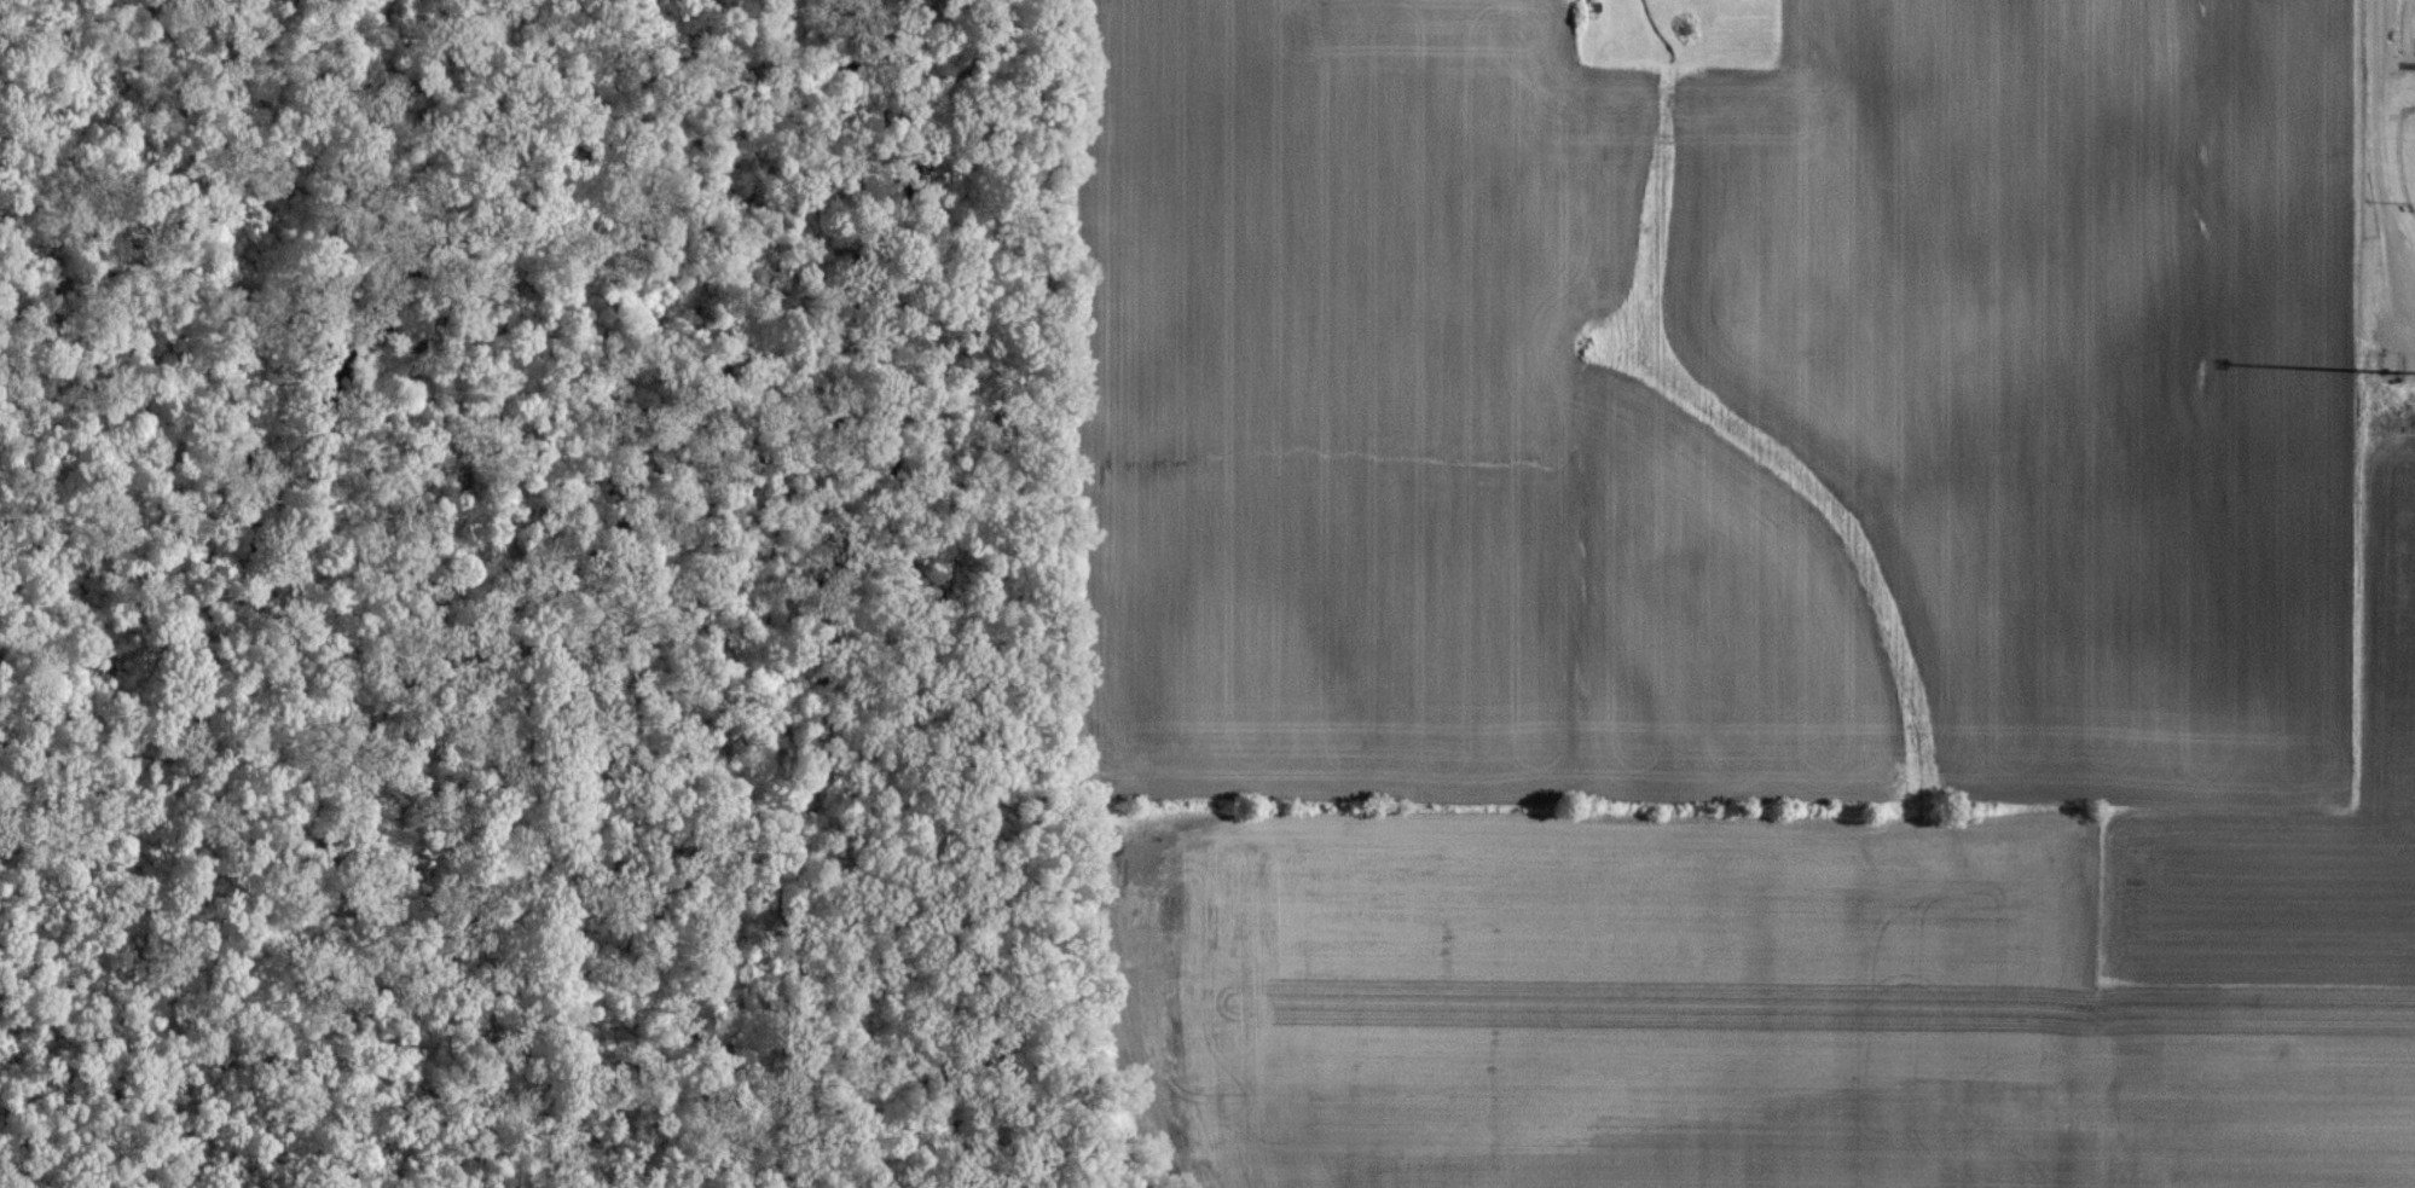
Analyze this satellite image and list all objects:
park: (2409, 25)
park: (2410, 149)

